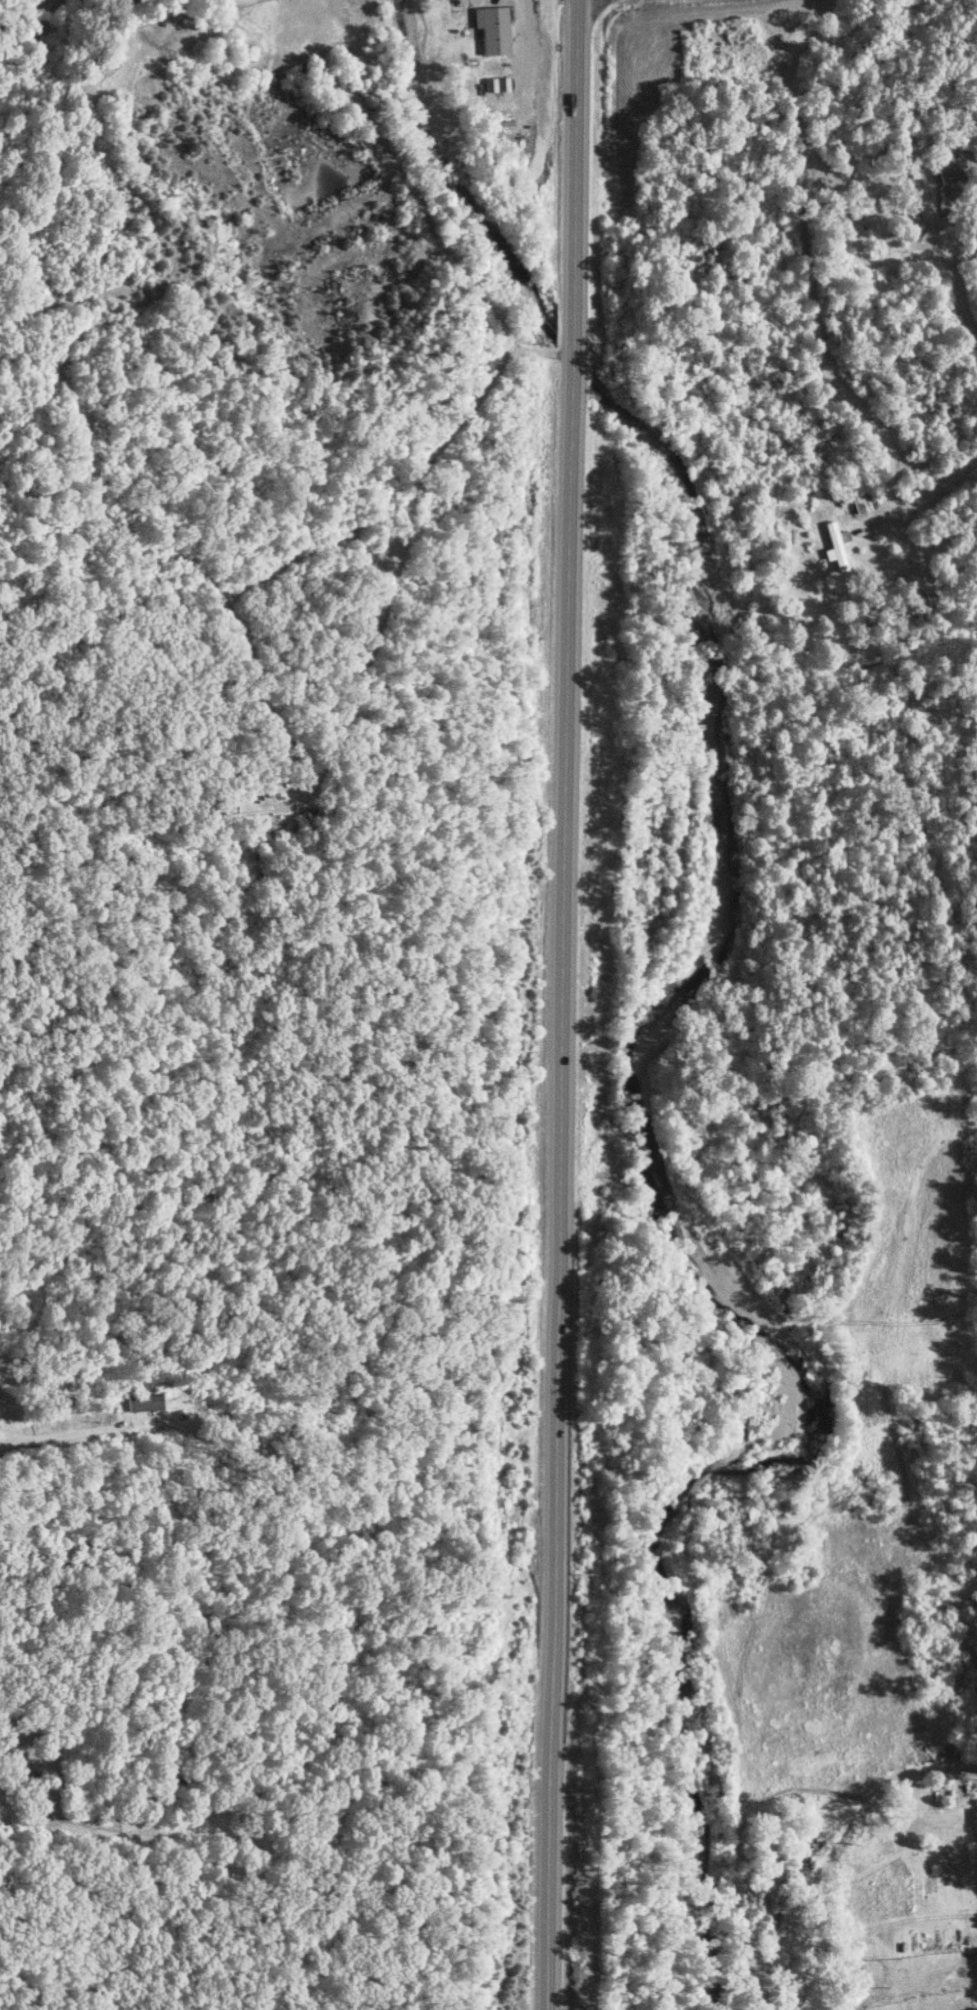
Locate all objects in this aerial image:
building: (491, 28)
building: (949, 167)
road: (863, 405)
building: (863, 503)
building: (832, 545)
road: (562, 1004)
building: (144, 1401)
road: (68, 1432)

